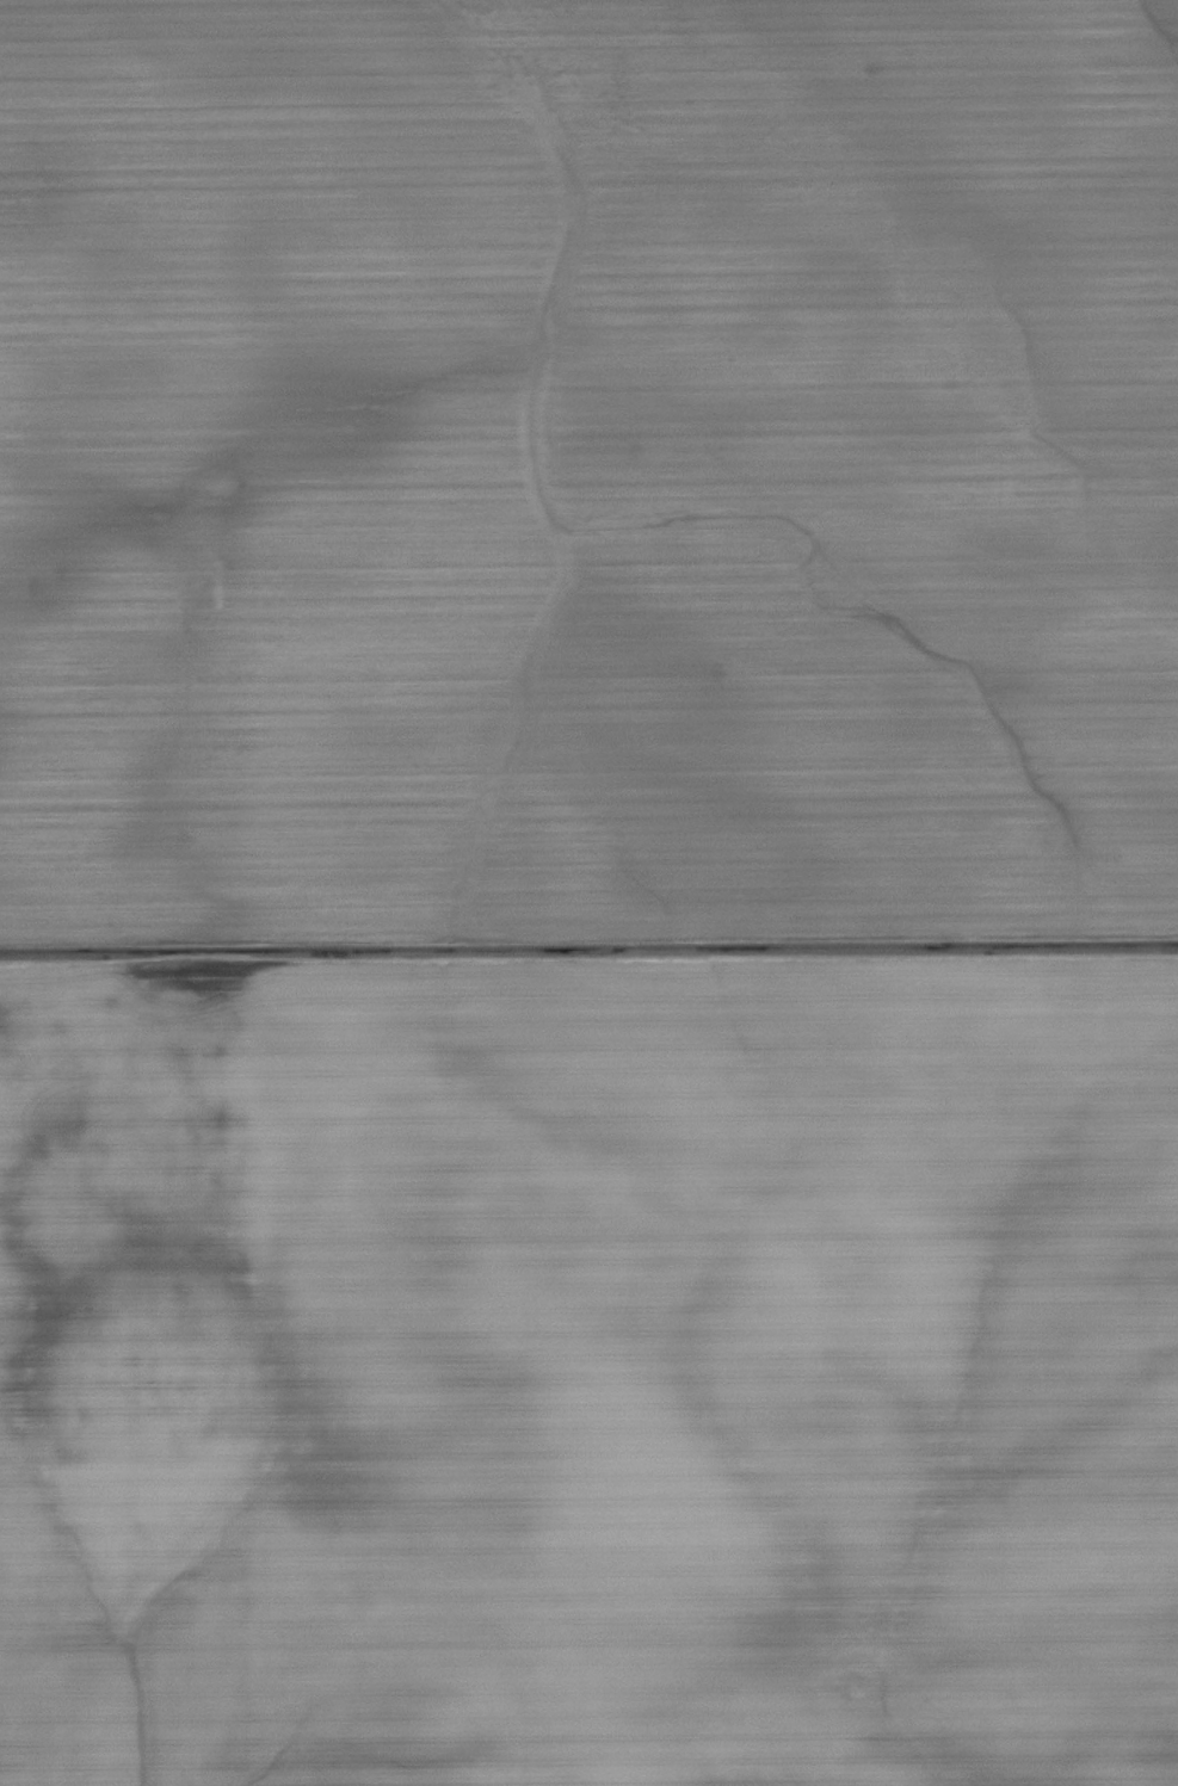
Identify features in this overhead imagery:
road: (588, 948)

